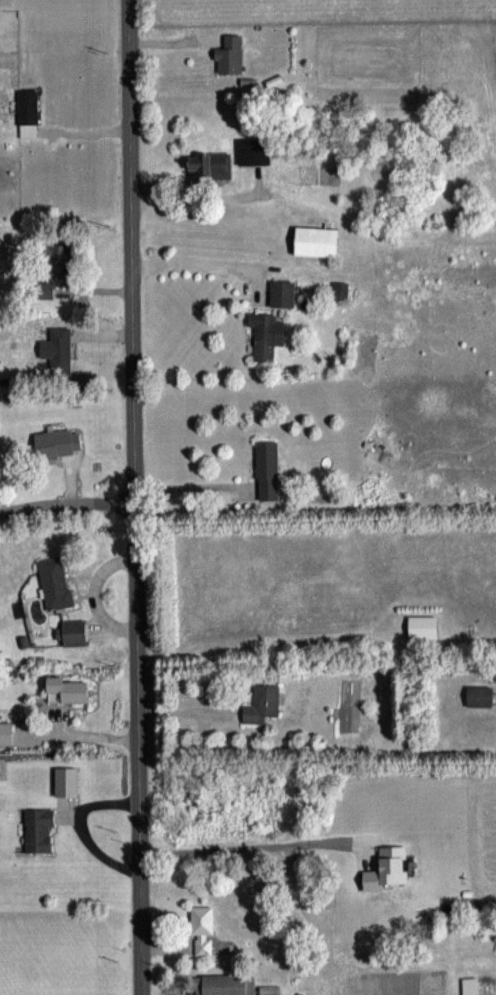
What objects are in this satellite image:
building: (232, 55)
building: (255, 150)
building: (212, 165)
road: (192, 197)
building: (319, 240)
building: (60, 260)
road: (186, 261)
building: (284, 292)
building: (269, 333)
building: (62, 349)
building: (60, 442)
building: (270, 470)
road: (187, 485)
road: (134, 497)
road: (67, 503)
building: (57, 582)
building: (425, 625)
building: (73, 630)
building: (70, 689)
building: (482, 695)
building: (264, 703)
building: (41, 830)
road: (250, 844)
building: (204, 930)
building: (234, 985)
building: (473, 985)

